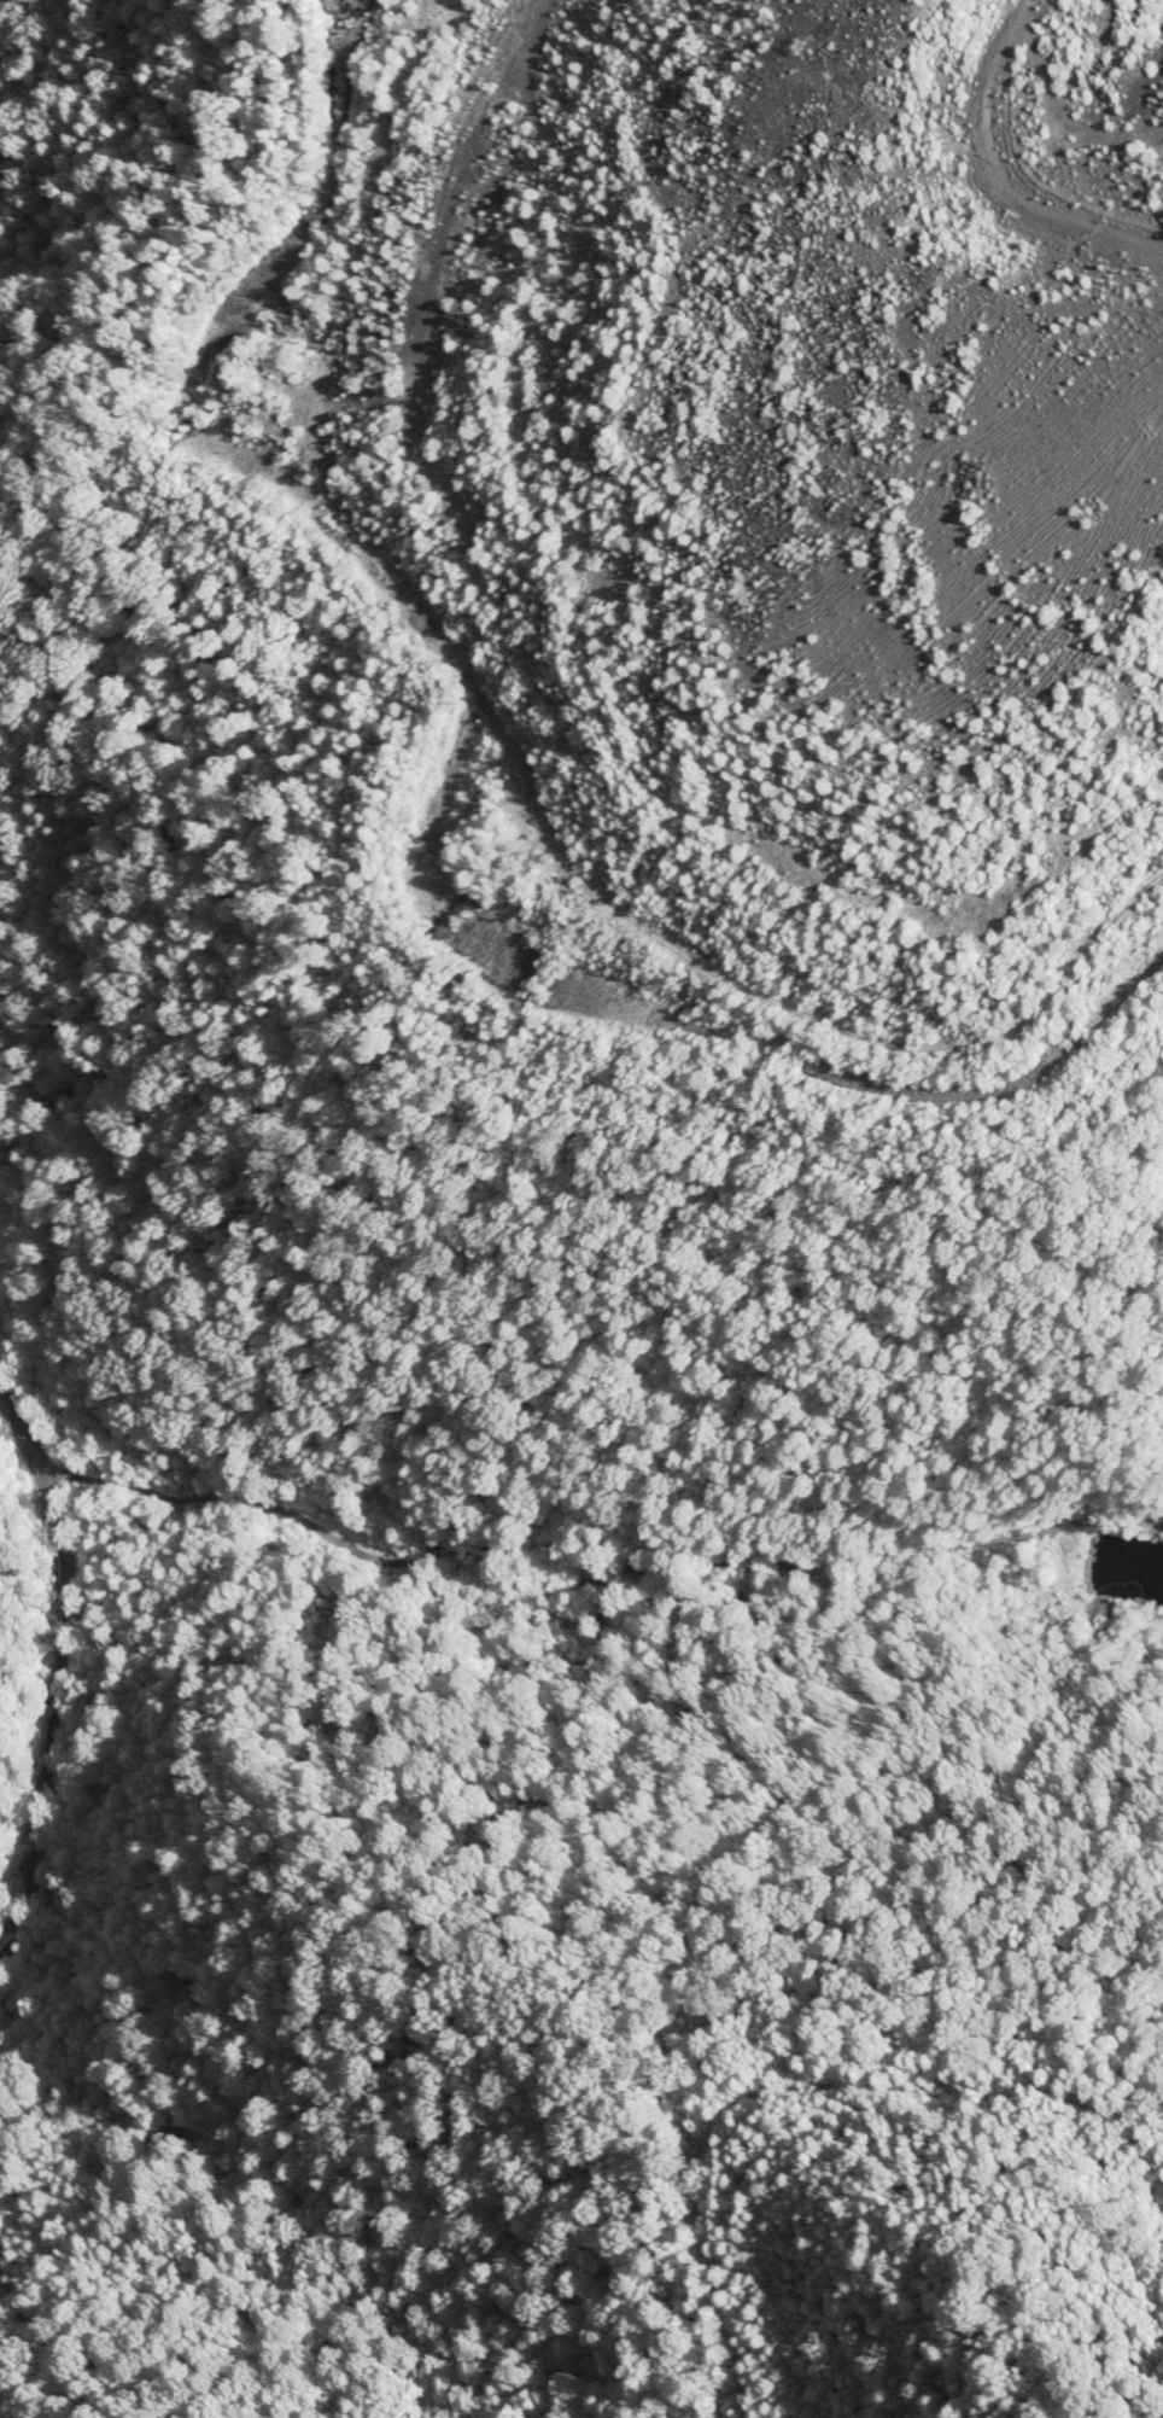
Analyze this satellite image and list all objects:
quarry: (731, 499)
road: (60, 1685)

